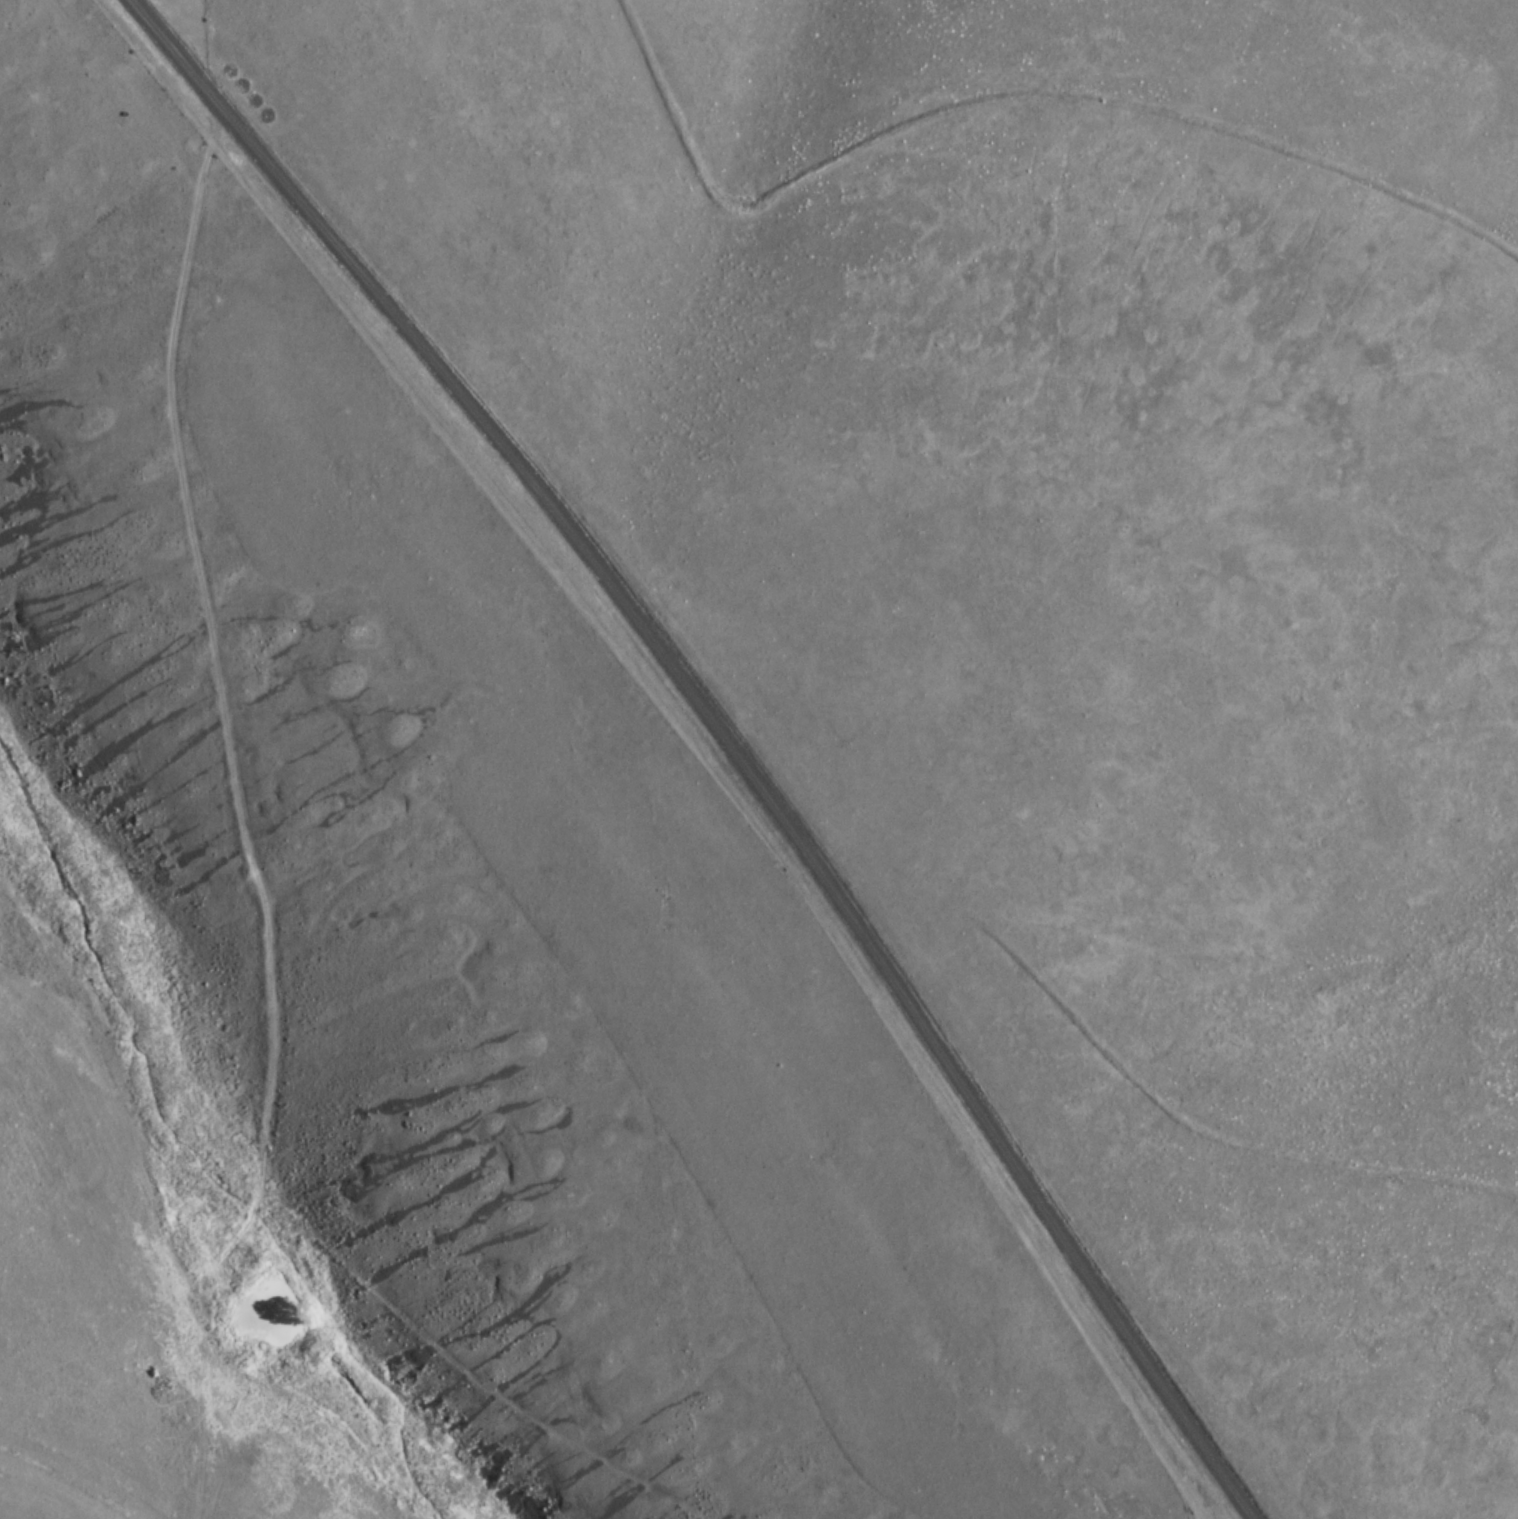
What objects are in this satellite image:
road: (734, 722)

